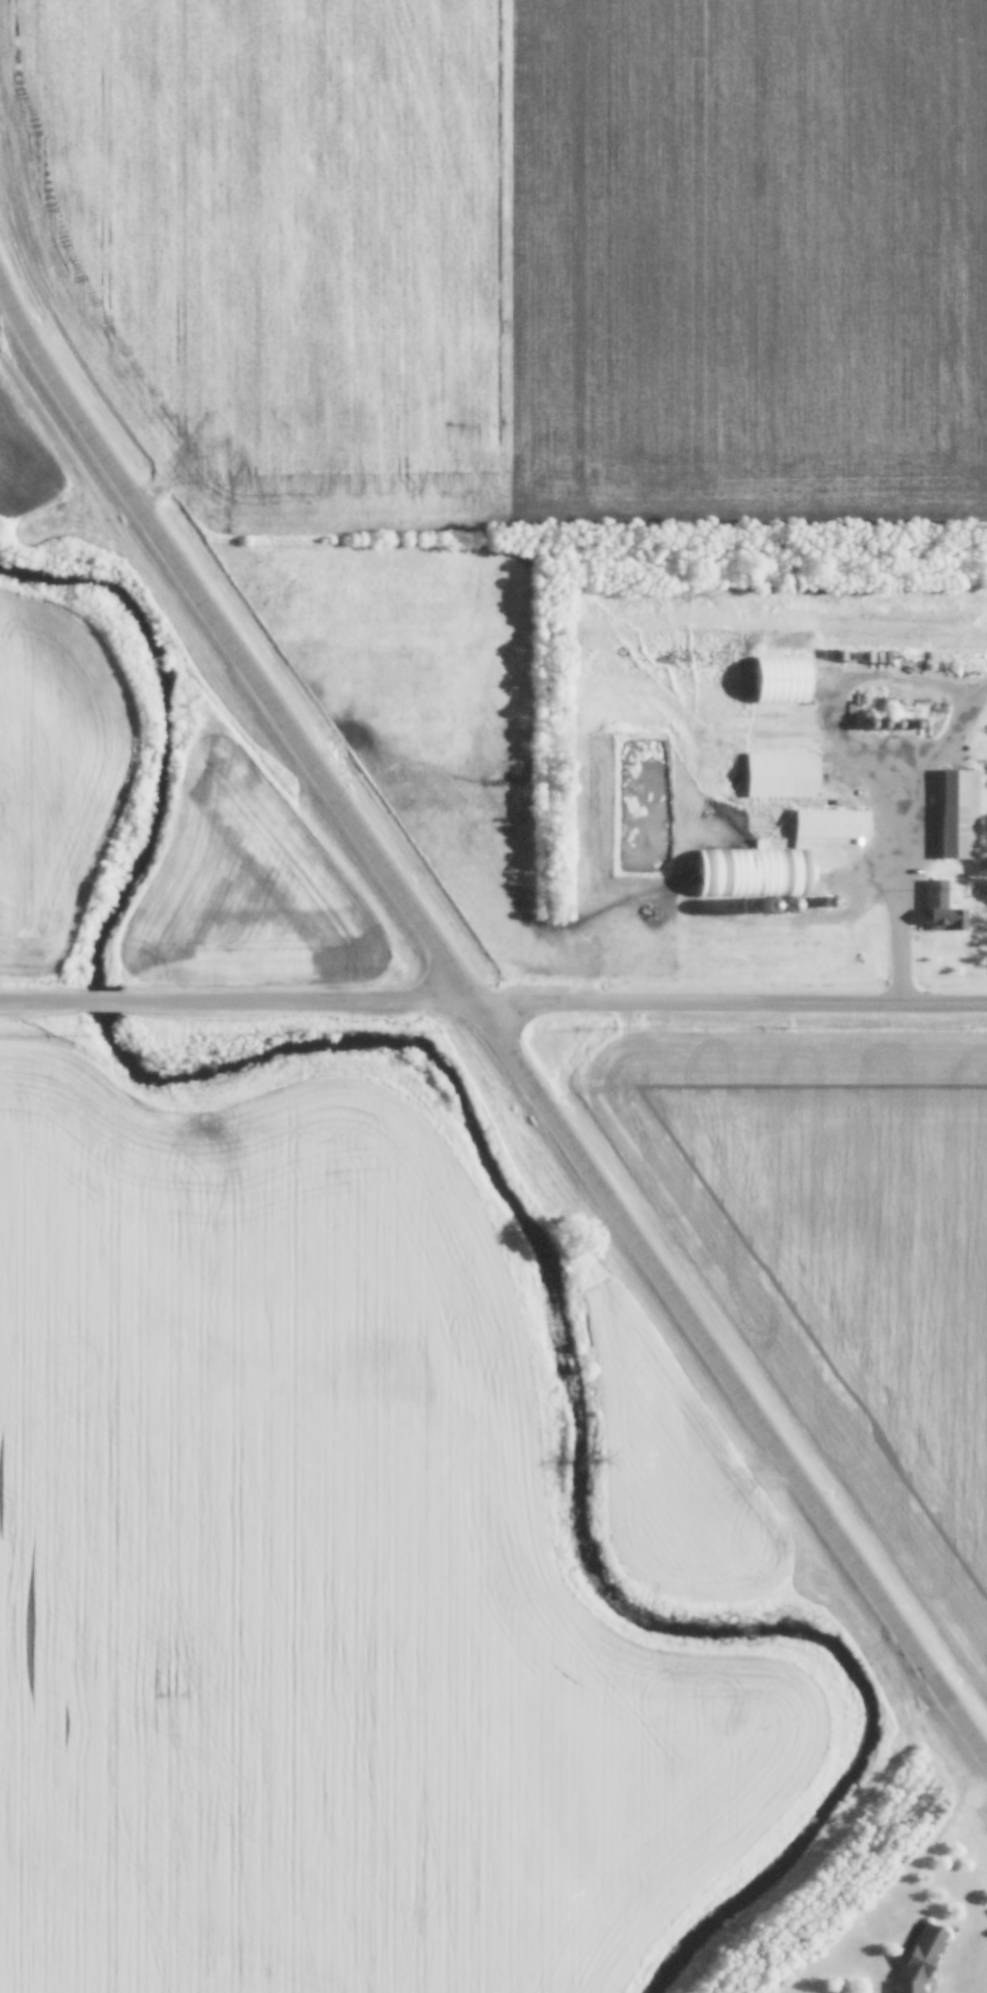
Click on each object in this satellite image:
road: (233, 644)
building: (800, 691)
building: (784, 776)
building: (960, 815)
building: (834, 824)
building: (703, 862)
building: (943, 910)
road: (908, 913)
road: (43, 1001)
road: (102, 1001)
road: (298, 1006)
road: (733, 1007)
road: (735, 1378)
building: (922, 1960)

